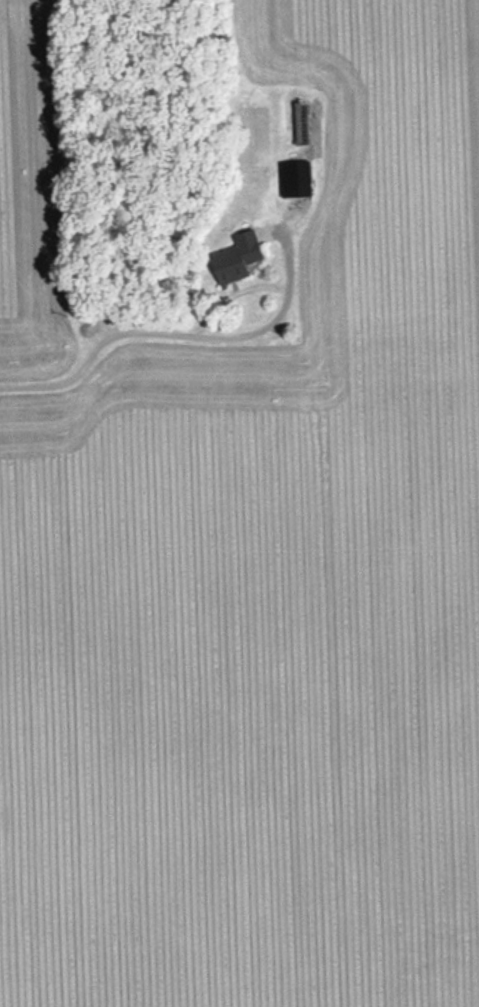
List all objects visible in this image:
building: (240, 256)
road: (160, 326)

